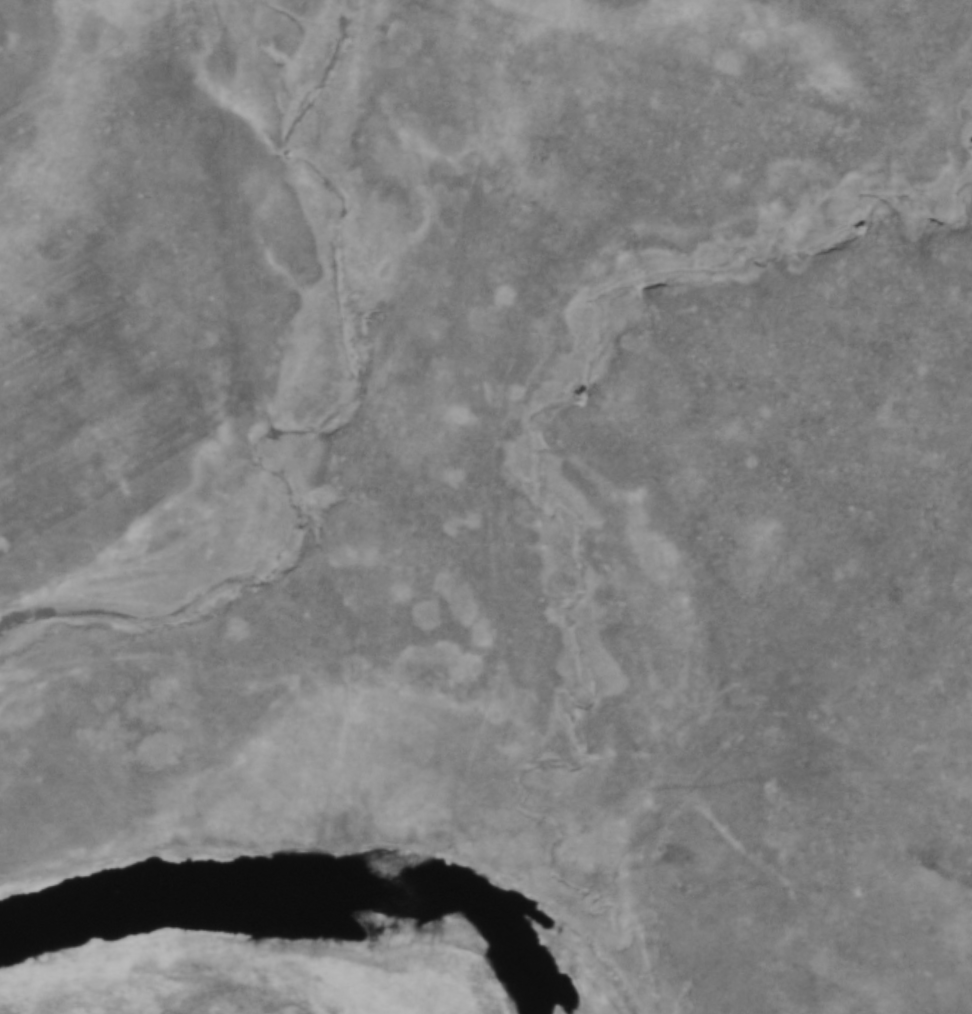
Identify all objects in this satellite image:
river: (302, 898)

